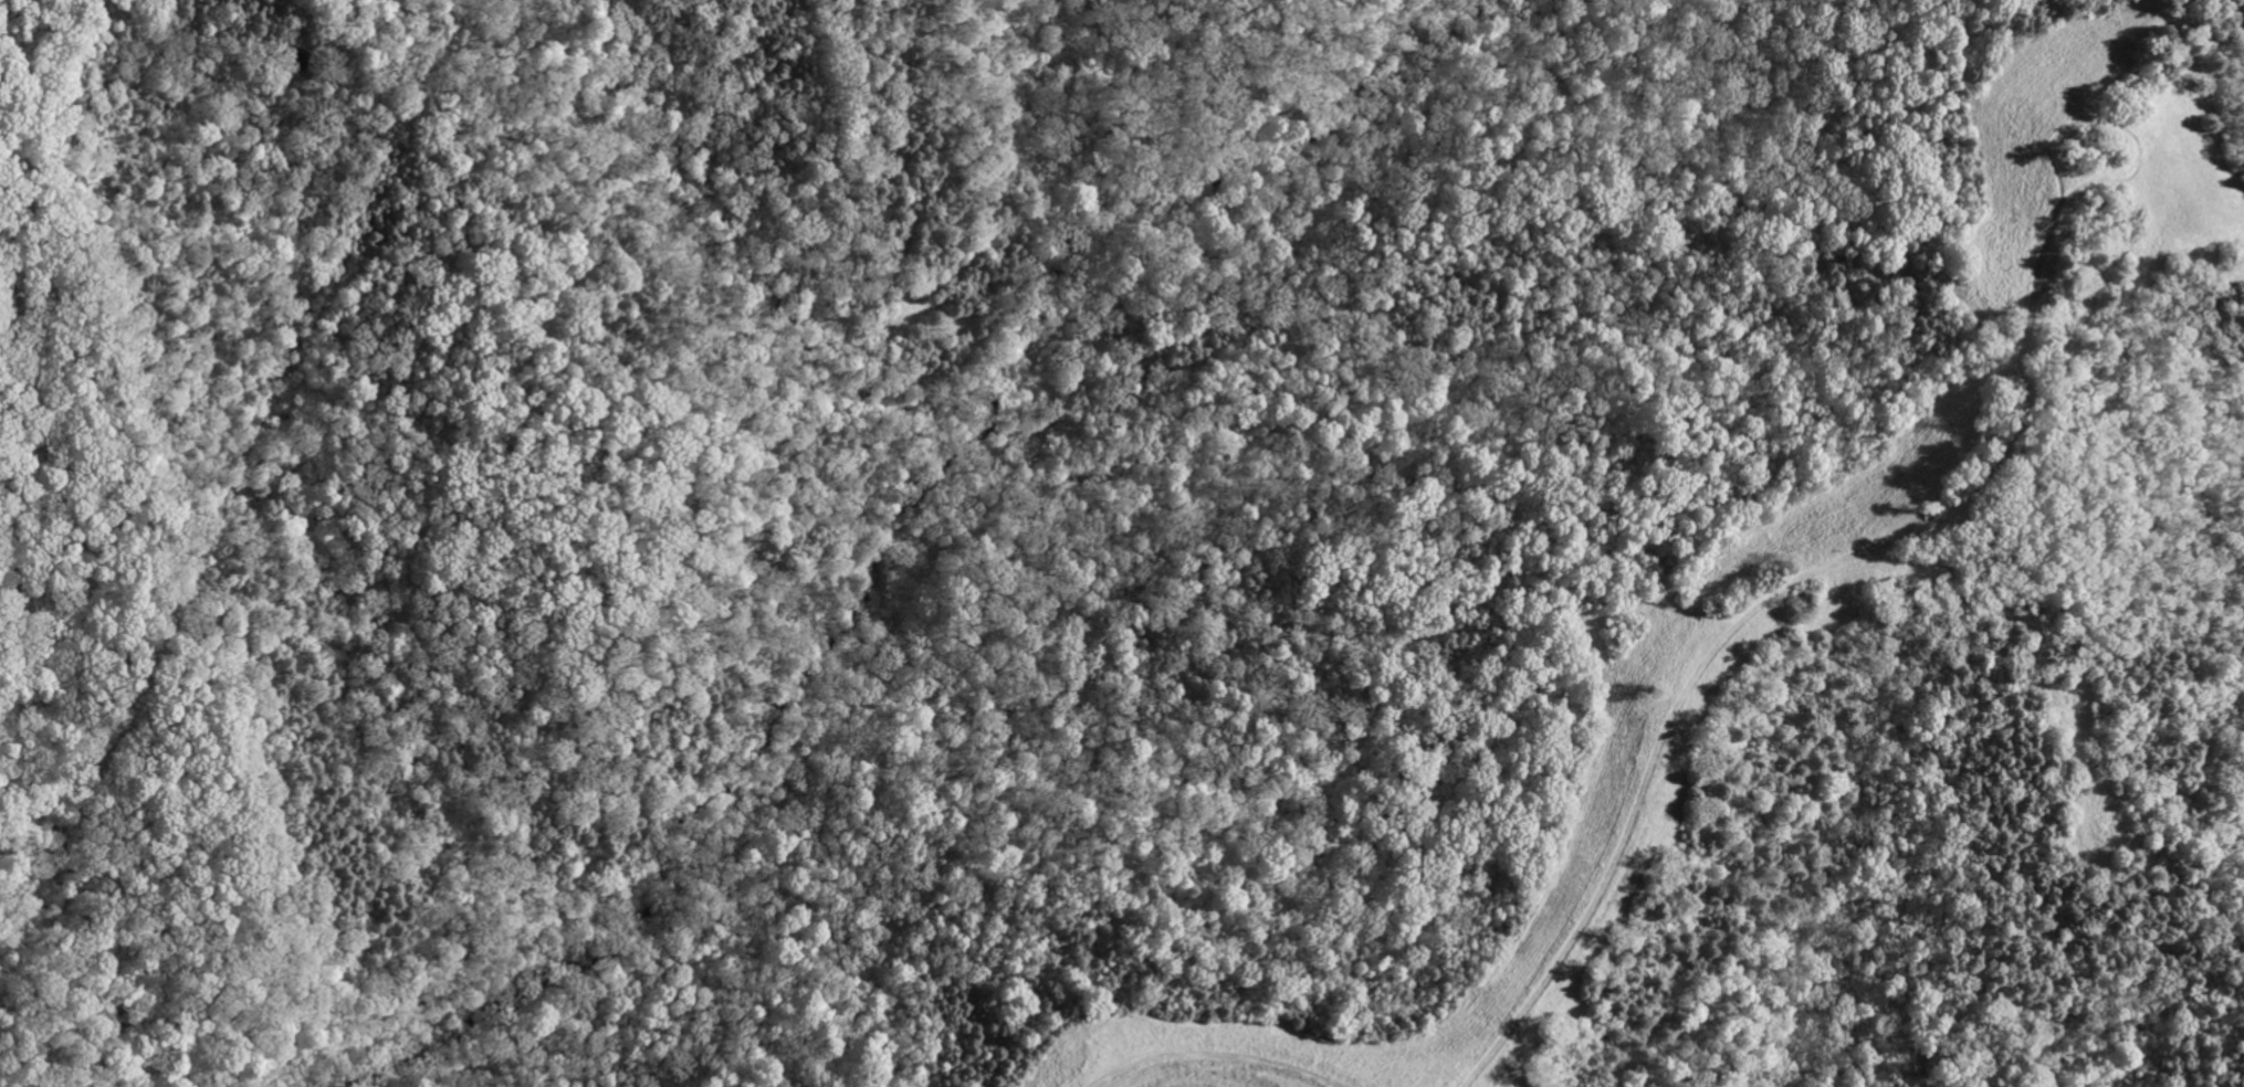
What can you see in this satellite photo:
road: (2158, 60)

